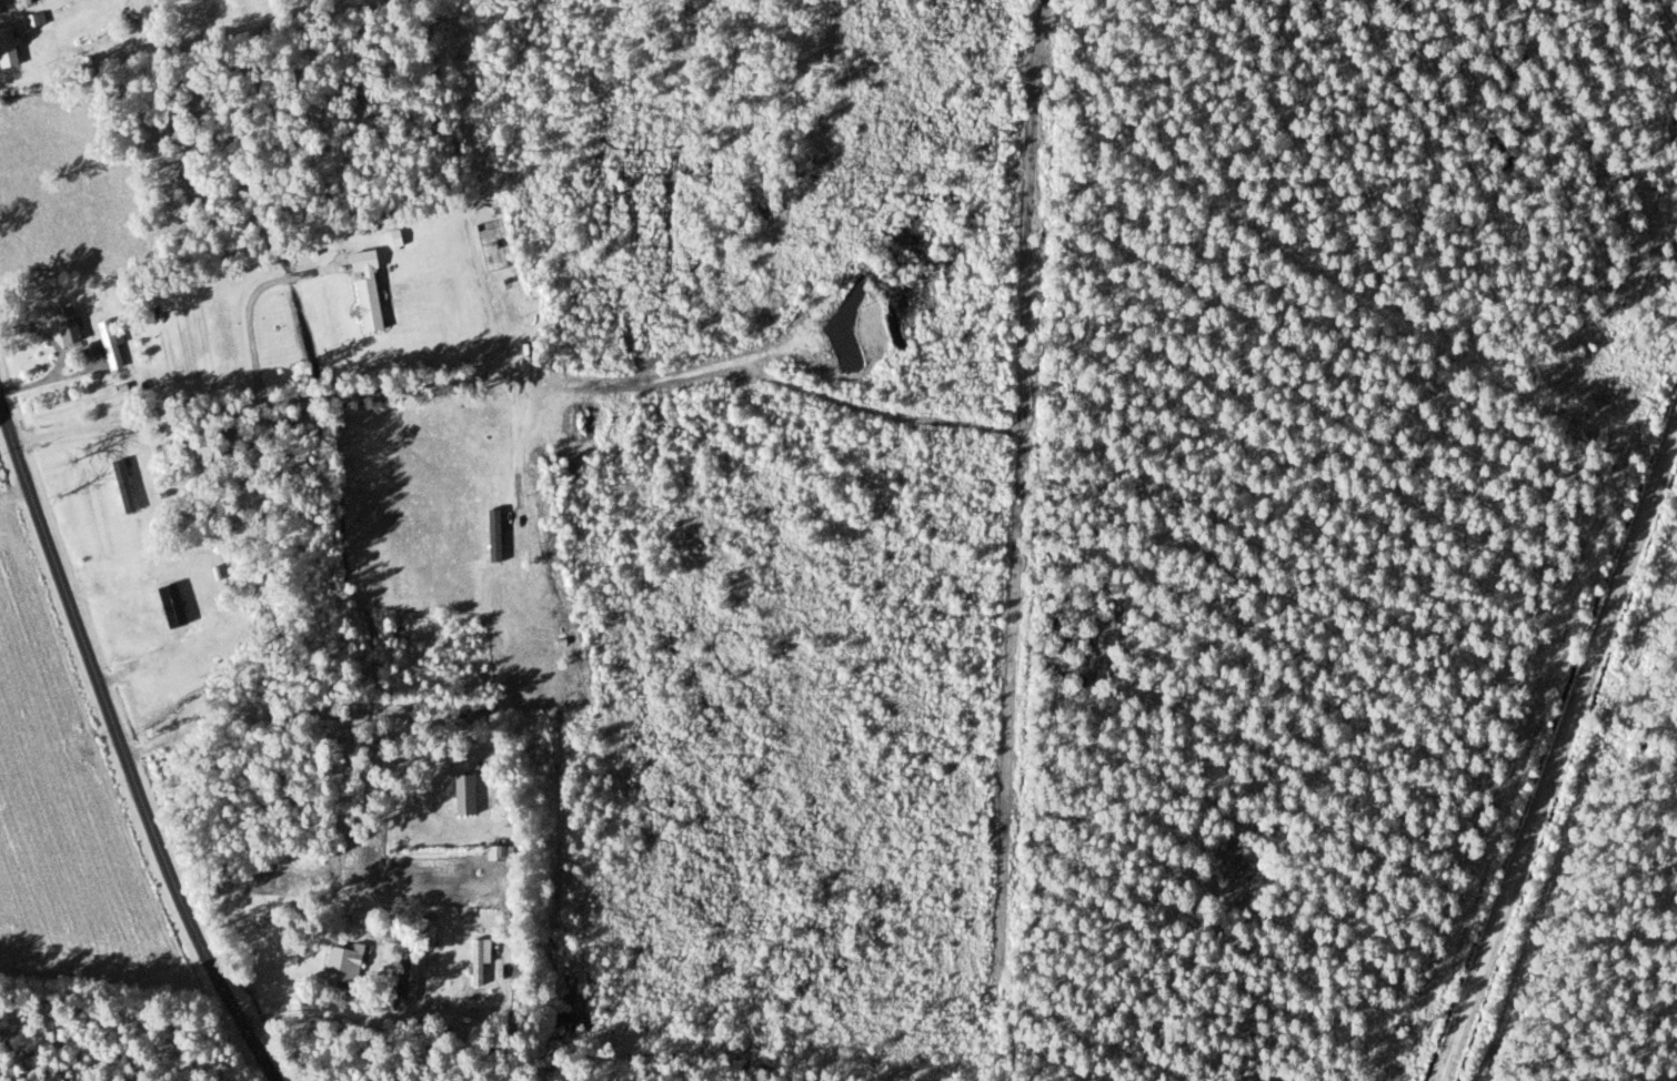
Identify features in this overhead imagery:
building: (24, 2)
building: (8, 47)
road: (252, 304)
building: (67, 326)
building: (109, 345)
road: (735, 366)
road: (4, 424)
building: (164, 452)
building: (122, 486)
road: (312, 715)
building: (476, 716)
road: (1558, 752)
road: (132, 766)
building: (464, 795)
building: (498, 852)
building: (476, 962)
building: (342, 966)
building: (408, 978)
road: (362, 1013)

